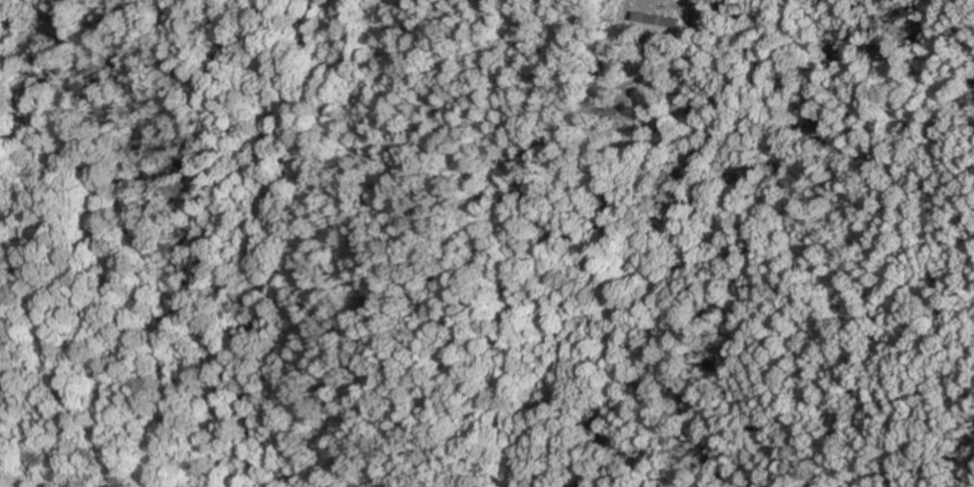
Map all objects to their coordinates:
road: (958, 11)

